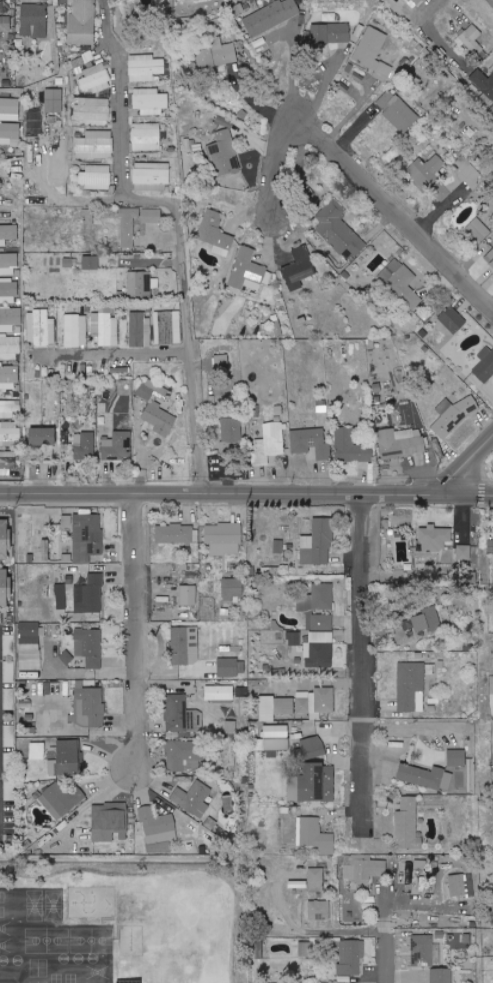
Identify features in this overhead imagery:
building: (414, 2)
building: (397, 6)
road: (429, 10)
building: (272, 16)
building: (34, 20)
building: (83, 22)
building: (5, 23)
building: (330, 35)
building: (472, 39)
building: (373, 53)
building: (217, 55)
building: (80, 61)
building: (145, 67)
building: (95, 78)
building: (483, 83)
building: (54, 101)
building: (149, 101)
building: (9, 106)
building: (93, 111)
building: (397, 111)
building: (10, 133)
building: (146, 136)
building: (95, 145)
building: (224, 153)
building: (151, 176)
building: (95, 177)
building: (464, 178)
road: (363, 184)
road: (65, 198)
building: (7, 208)
building: (151, 215)
building: (88, 216)
building: (128, 226)
building: (479, 229)
building: (338, 230)
building: (8, 233)
building: (216, 233)
road: (172, 244)
building: (490, 257)
building: (91, 263)
building: (8, 264)
building: (300, 268)
building: (248, 271)
building: (401, 282)
building: (141, 284)
building: (8, 291)
building: (10, 318)
building: (454, 320)
building: (105, 327)
building: (40, 328)
building: (167, 328)
building: (75, 330)
building: (140, 330)
building: (9, 347)
road: (111, 353)
building: (222, 364)
building: (485, 365)
building: (8, 376)
building: (146, 393)
building: (9, 408)
building: (155, 414)
building: (453, 416)
building: (9, 434)
building: (43, 436)
building: (230, 436)
building: (269, 443)
building: (310, 443)
building: (401, 443)
building: (84, 446)
building: (118, 446)
building: (350, 446)
building: (7, 463)
building: (42, 468)
road: (468, 468)
road: (246, 493)
building: (176, 533)
building: (87, 536)
building: (435, 537)
building: (4, 538)
building: (224, 538)
building: (318, 543)
building: (463, 552)
building: (4, 586)
building: (232, 588)
building: (90, 594)
building: (188, 594)
building: (317, 597)
building: (427, 619)
building: (320, 622)
road: (136, 631)
building: (293, 638)
building: (30, 645)
building: (185, 645)
building: (89, 646)
building: (320, 649)
road: (366, 656)
building: (69, 657)
building: (228, 667)
building: (410, 685)
building: (220, 692)
building: (26, 697)
building: (316, 701)
building: (89, 706)
building: (276, 706)
building: (181, 714)
building: (231, 726)
building: (178, 734)
building: (313, 746)
building: (37, 750)
building: (185, 755)
building: (457, 757)
building: (66, 758)
building: (427, 776)
building: (317, 781)
building: (294, 791)
building: (193, 798)
building: (61, 799)
building: (108, 820)
building: (408, 824)
building: (158, 826)
building: (314, 835)
building: (364, 868)
building: (316, 879)
building: (298, 884)
building: (462, 885)
building: (319, 910)
building: (306, 949)
road: (389, 949)
building: (425, 951)
building: (351, 957)
building: (442, 975)
building: (126, 981)

